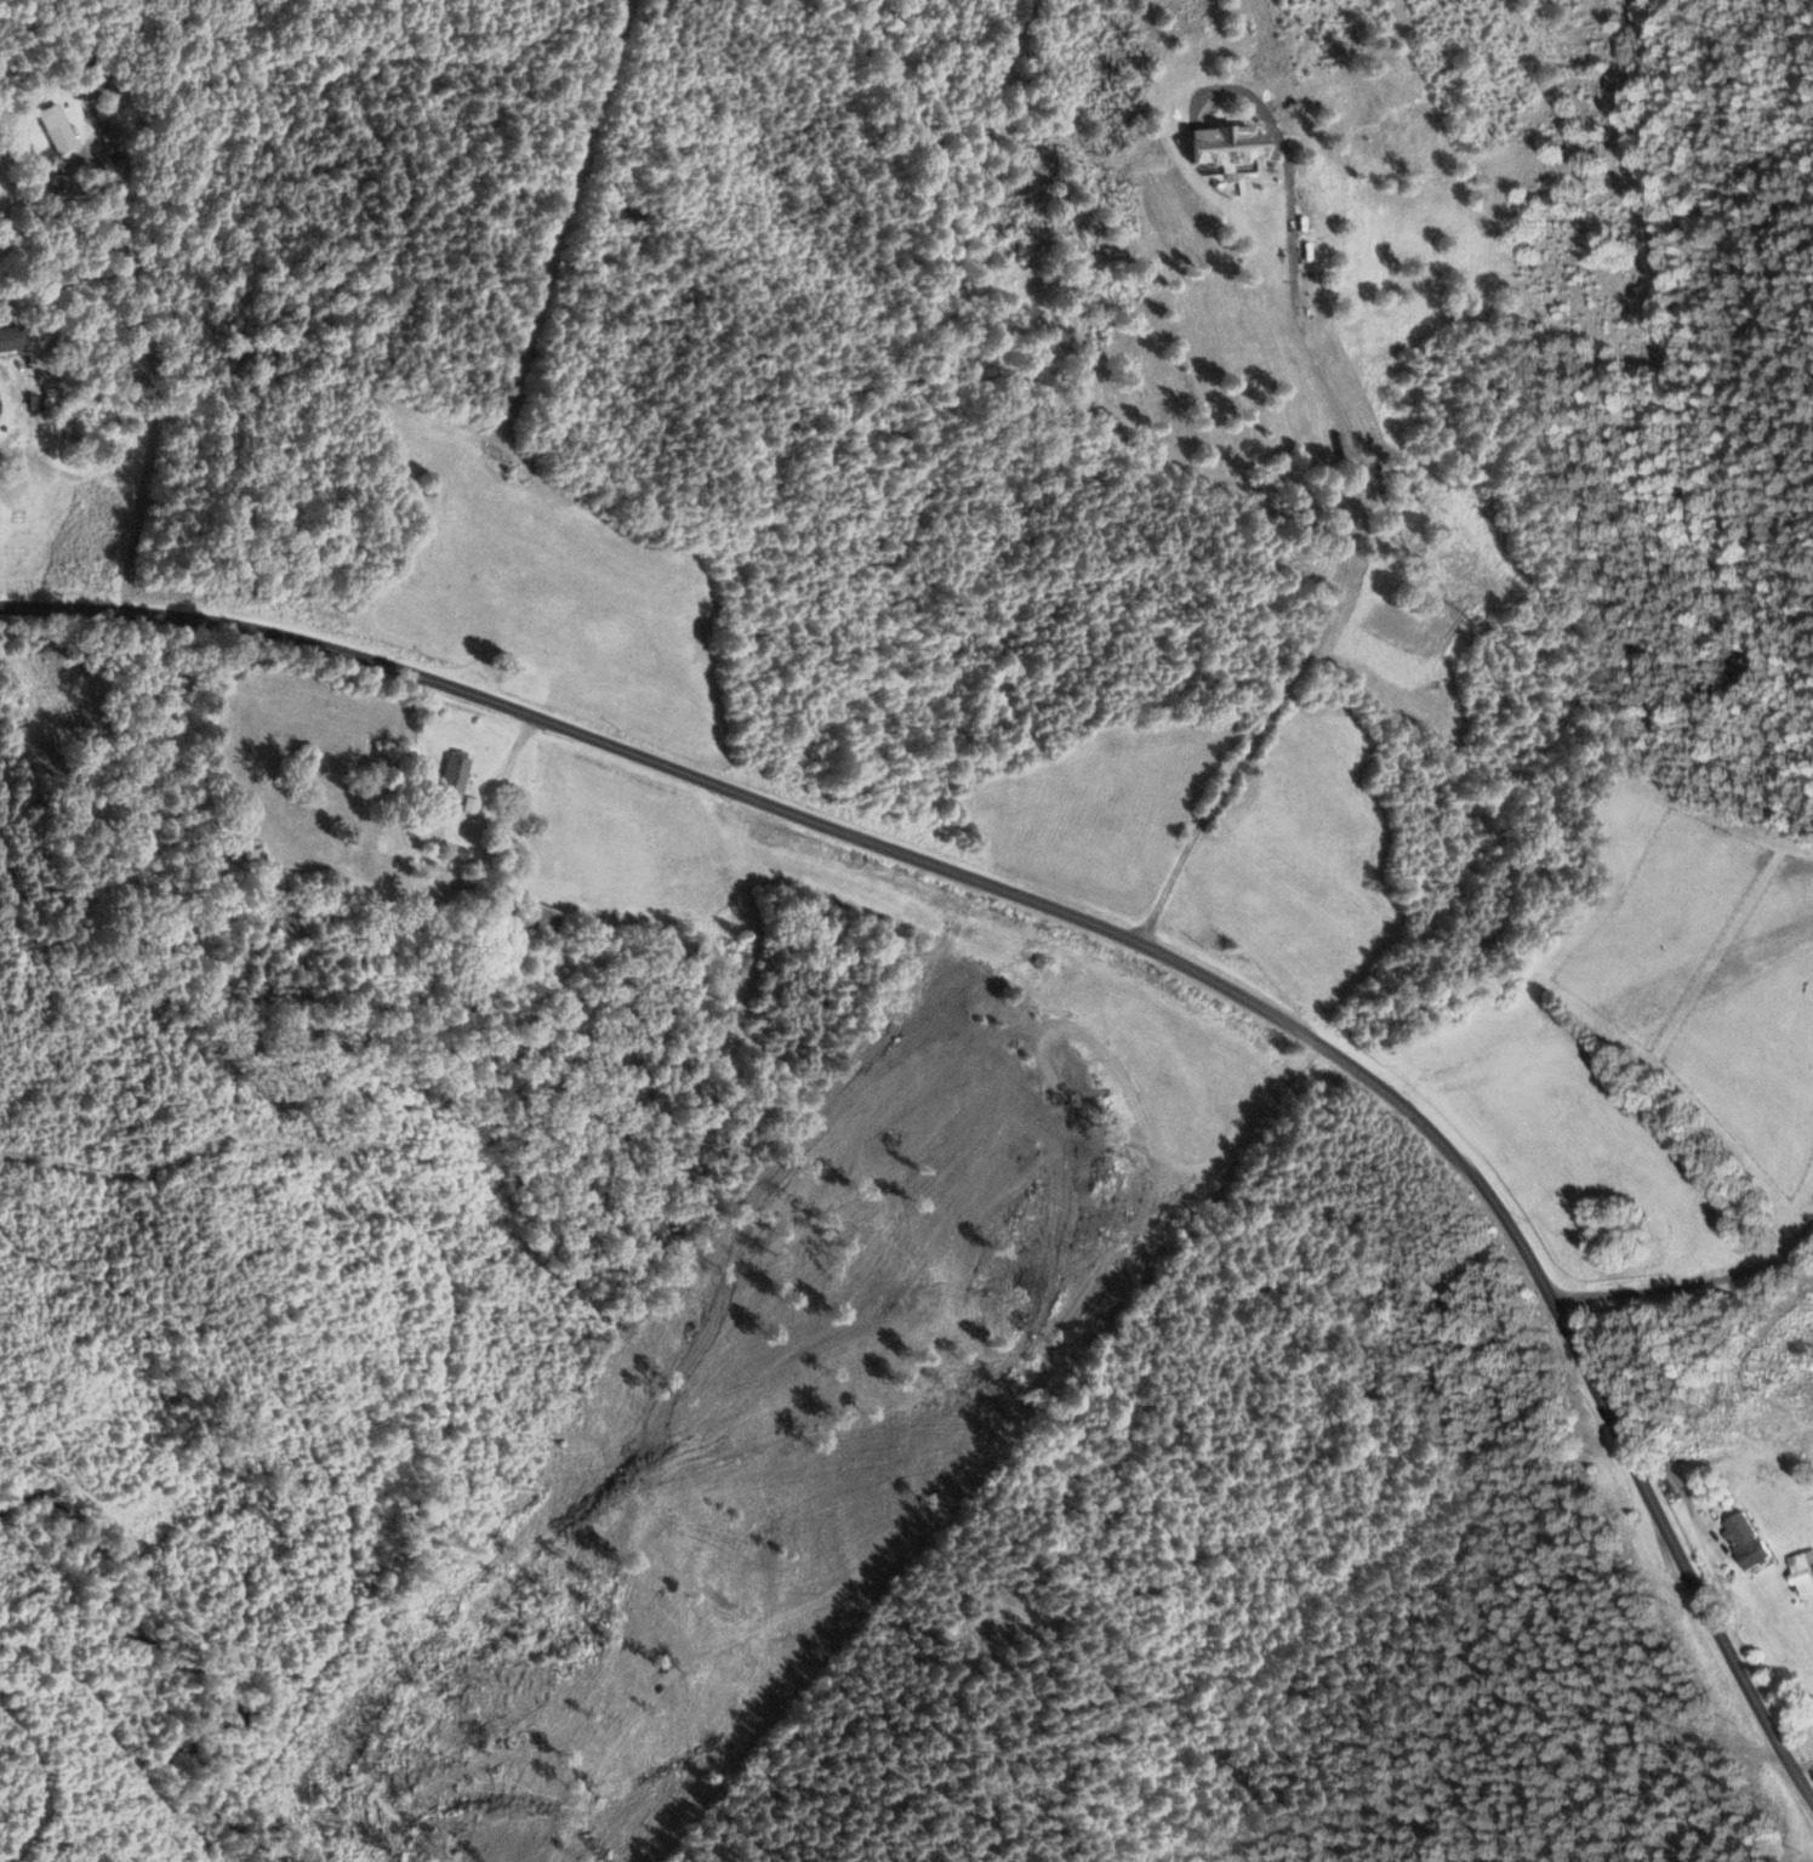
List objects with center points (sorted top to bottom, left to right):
building: (55, 132)
building: (1218, 142)
road: (132, 300)
building: (25, 371)
road: (120, 488)
road: (1346, 557)
road: (688, 773)
building: (454, 778)
building: (501, 910)
building: (543, 921)
road: (1687, 1282)
road: (1602, 1412)
building: (1745, 1542)
building: (1802, 1575)

